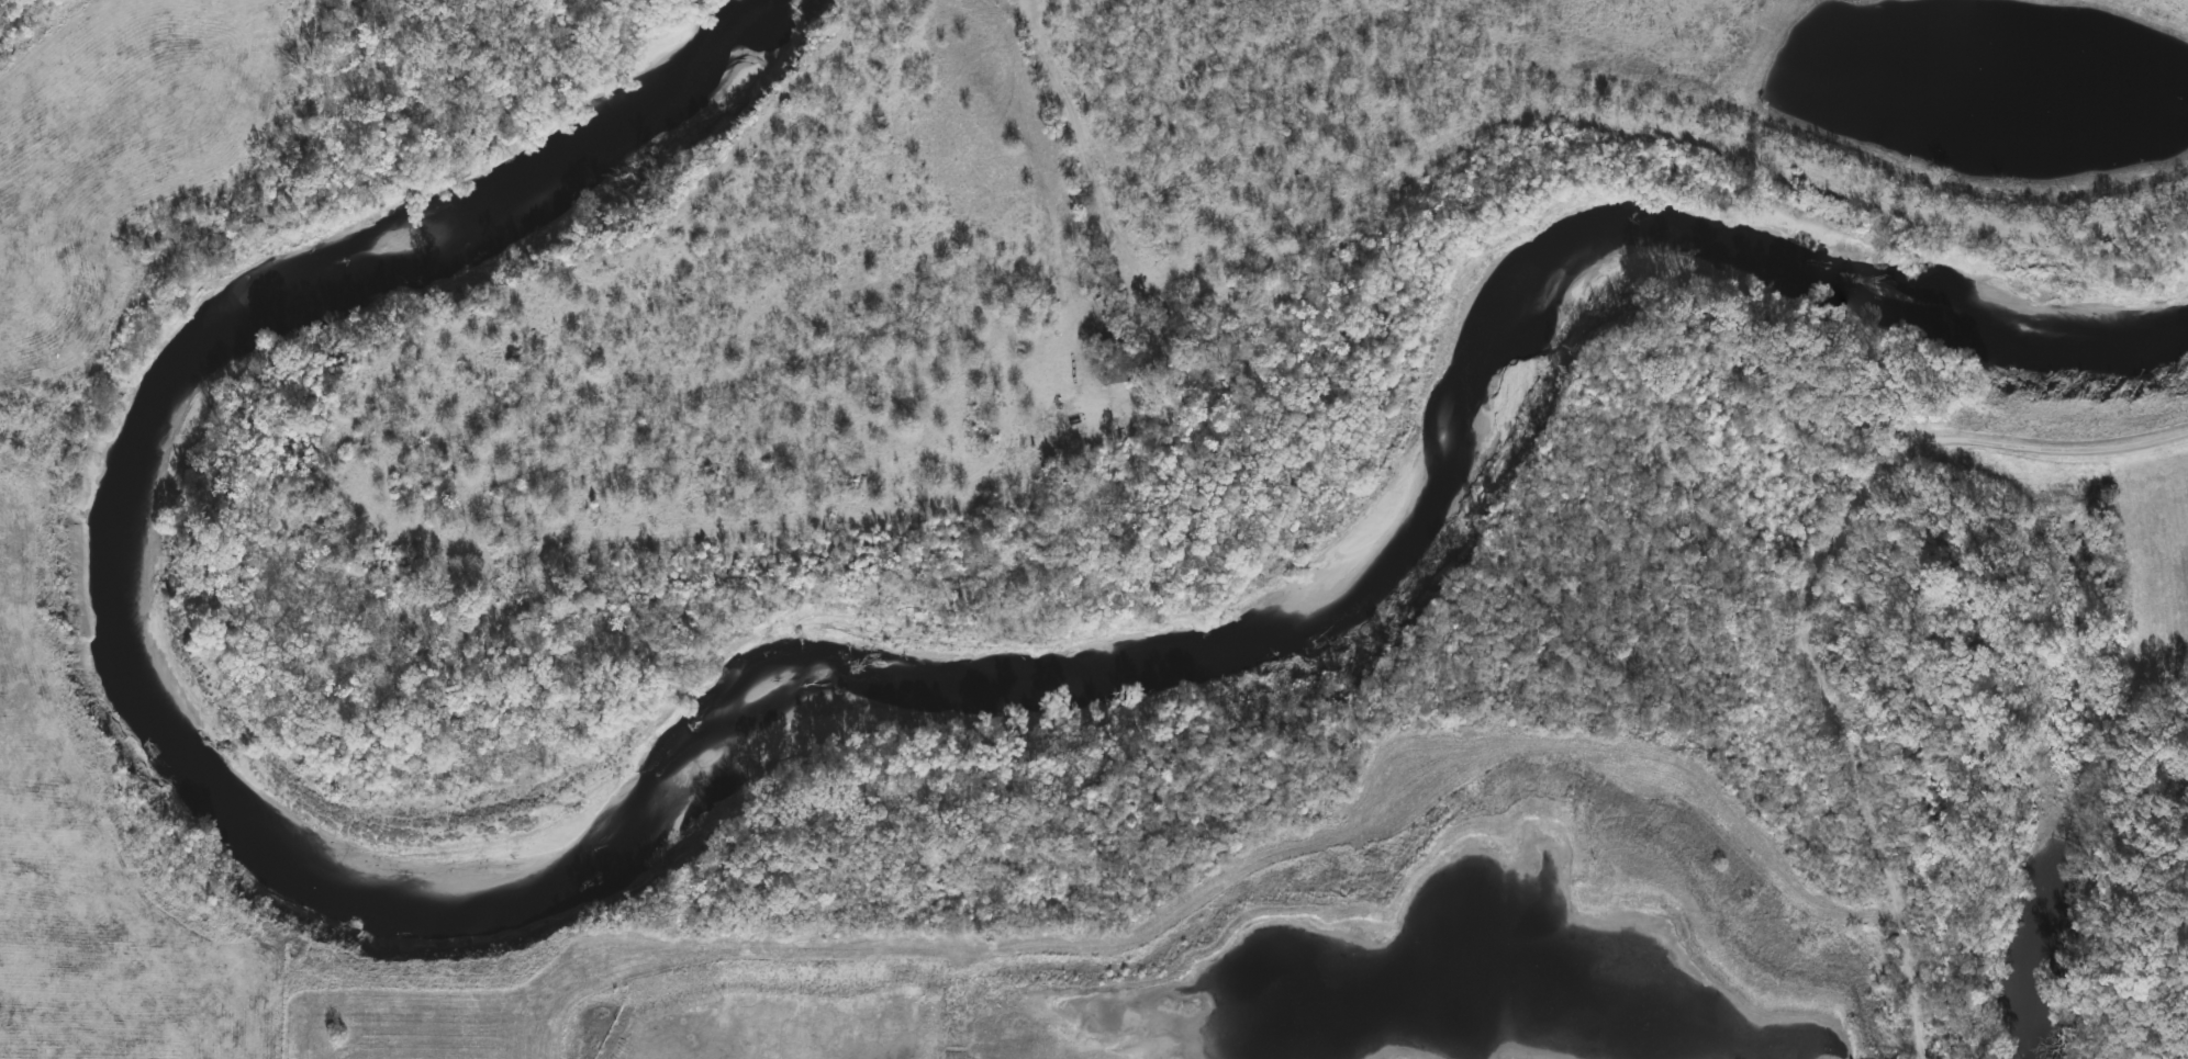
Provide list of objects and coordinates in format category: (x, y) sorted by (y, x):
road: (1032, 26)
river: (730, 717)

